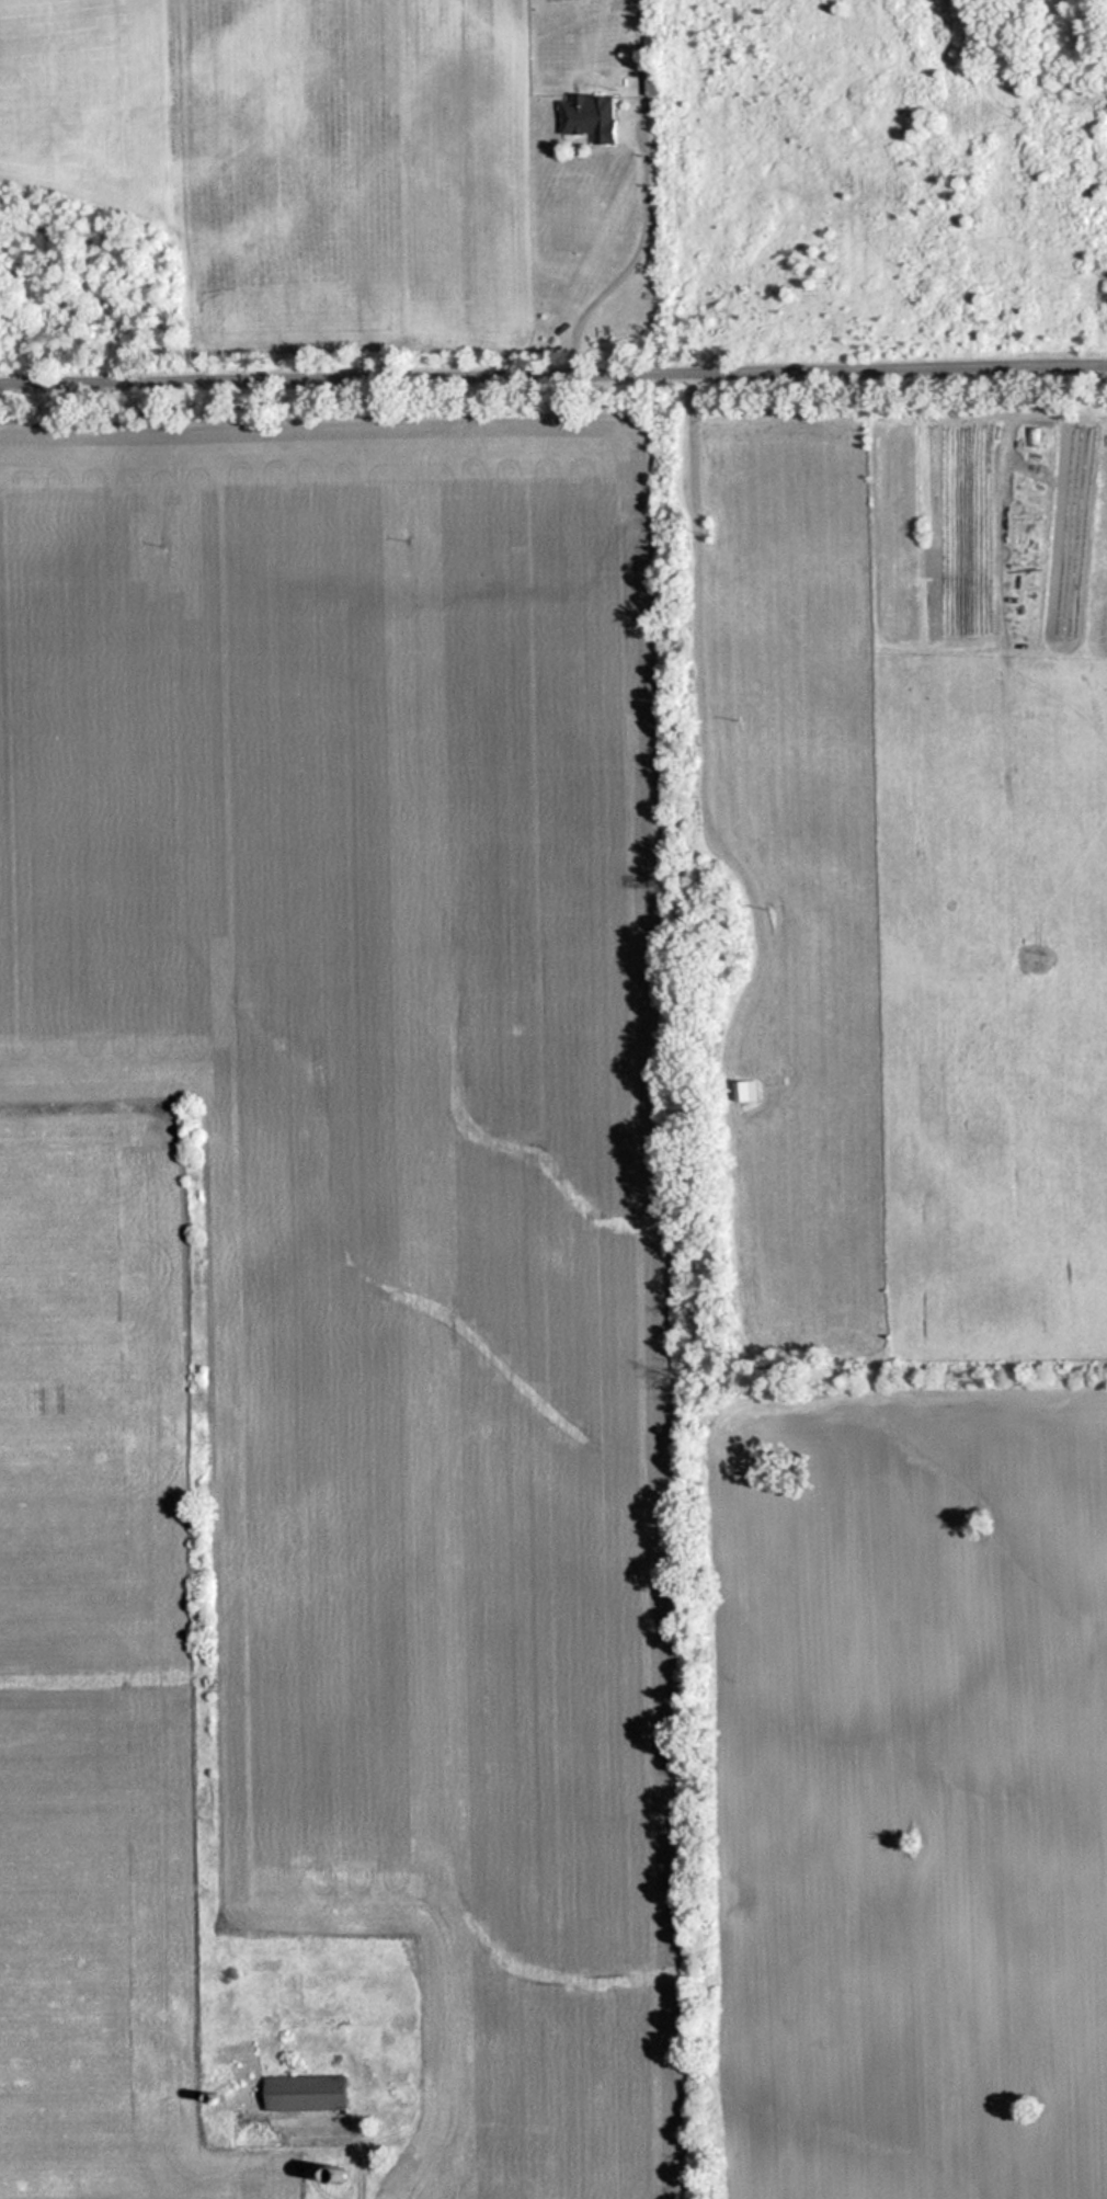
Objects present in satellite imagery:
building: (594, 116)
road: (553, 384)
building: (751, 1091)
building: (310, 2092)

